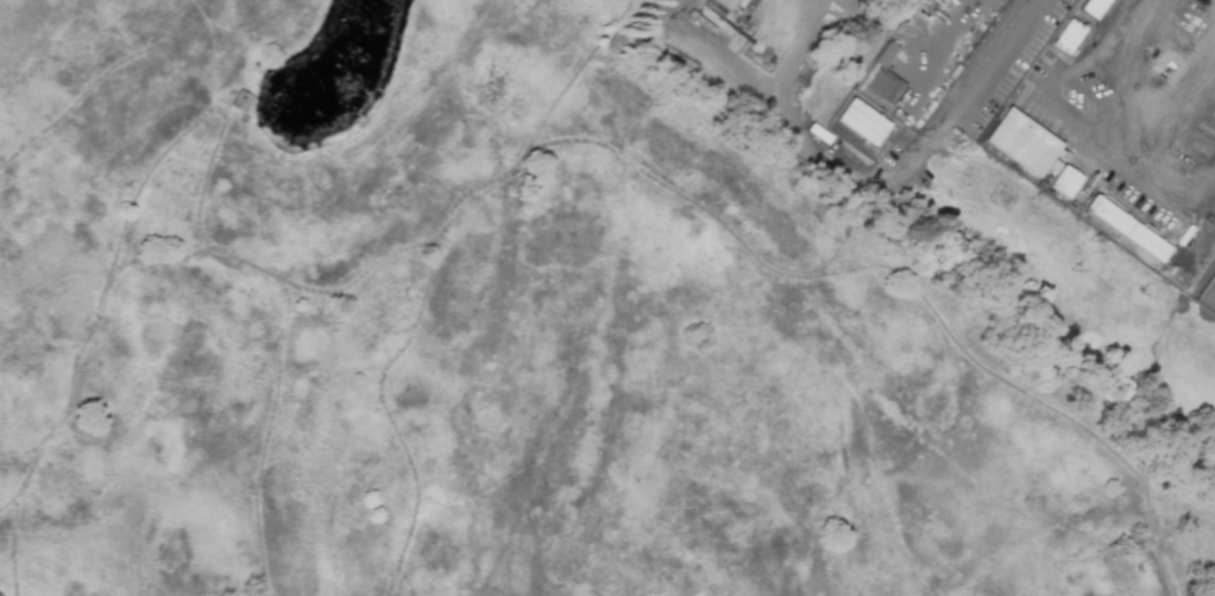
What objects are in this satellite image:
building: (725, 4)
building: (1091, 7)
building: (924, 20)
building: (1066, 36)
road: (606, 37)
building: (615, 42)
road: (944, 50)
road: (1131, 61)
road: (991, 65)
road: (577, 69)
road: (94, 82)
building: (875, 82)
building: (241, 100)
building: (925, 110)
building: (902, 116)
road: (194, 122)
building: (860, 122)
building: (1019, 142)
building: (1066, 156)
building: (1065, 182)
building: (1118, 192)
road: (685, 195)
building: (1125, 228)
building: (1203, 243)
road: (165, 259)
power substation: (1208, 294)
park: (496, 334)
road: (267, 436)
road: (7, 501)
road: (13, 546)

